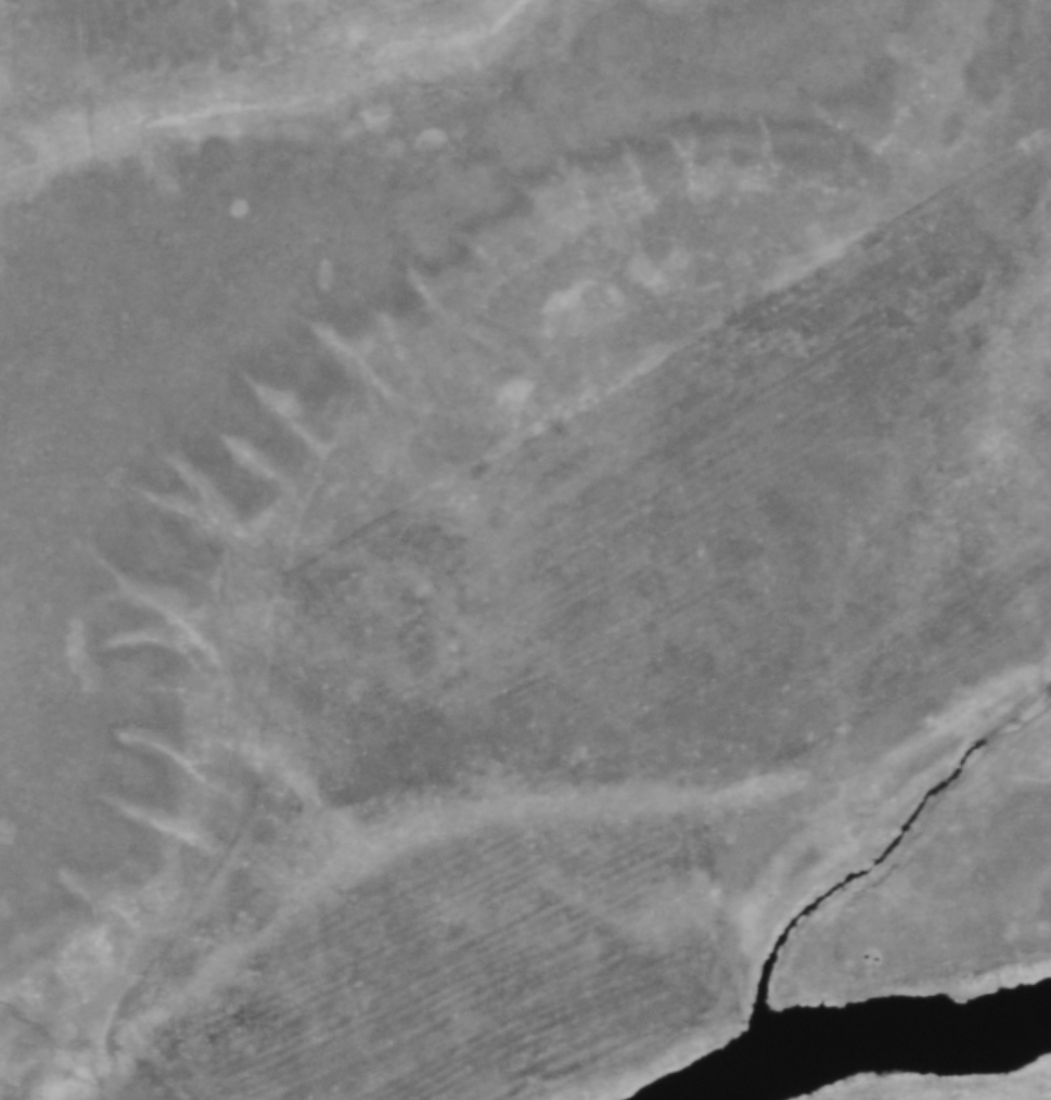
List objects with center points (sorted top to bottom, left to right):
river: (879, 1038)

